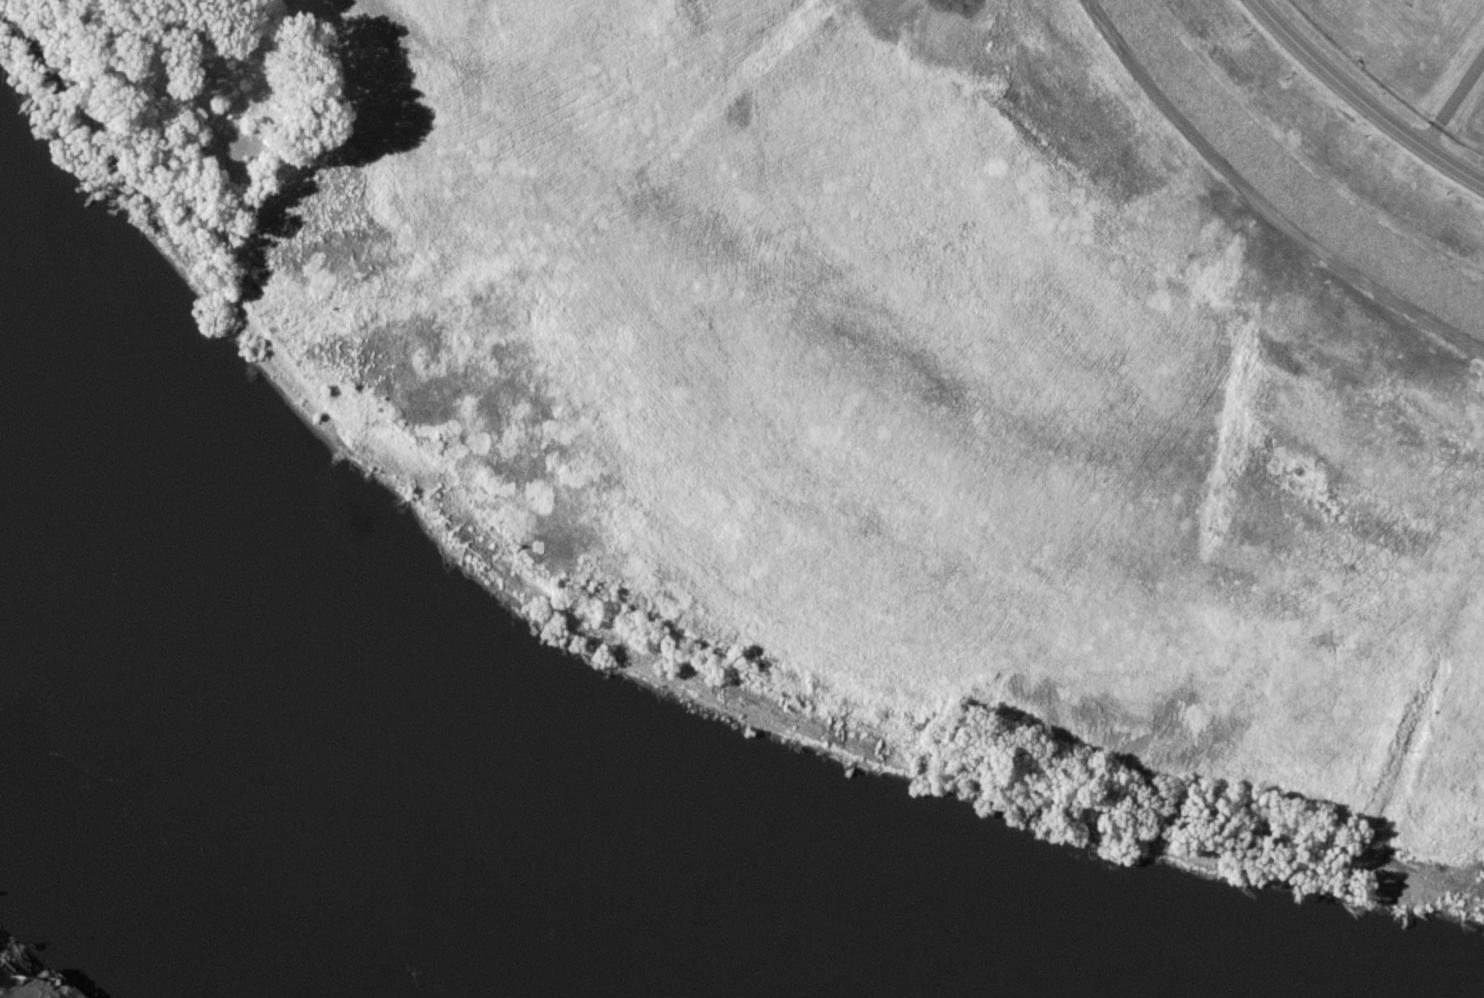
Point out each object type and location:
airport: (1416, 54)
road: (1362, 100)
road: (1260, 205)
river: (283, 788)

